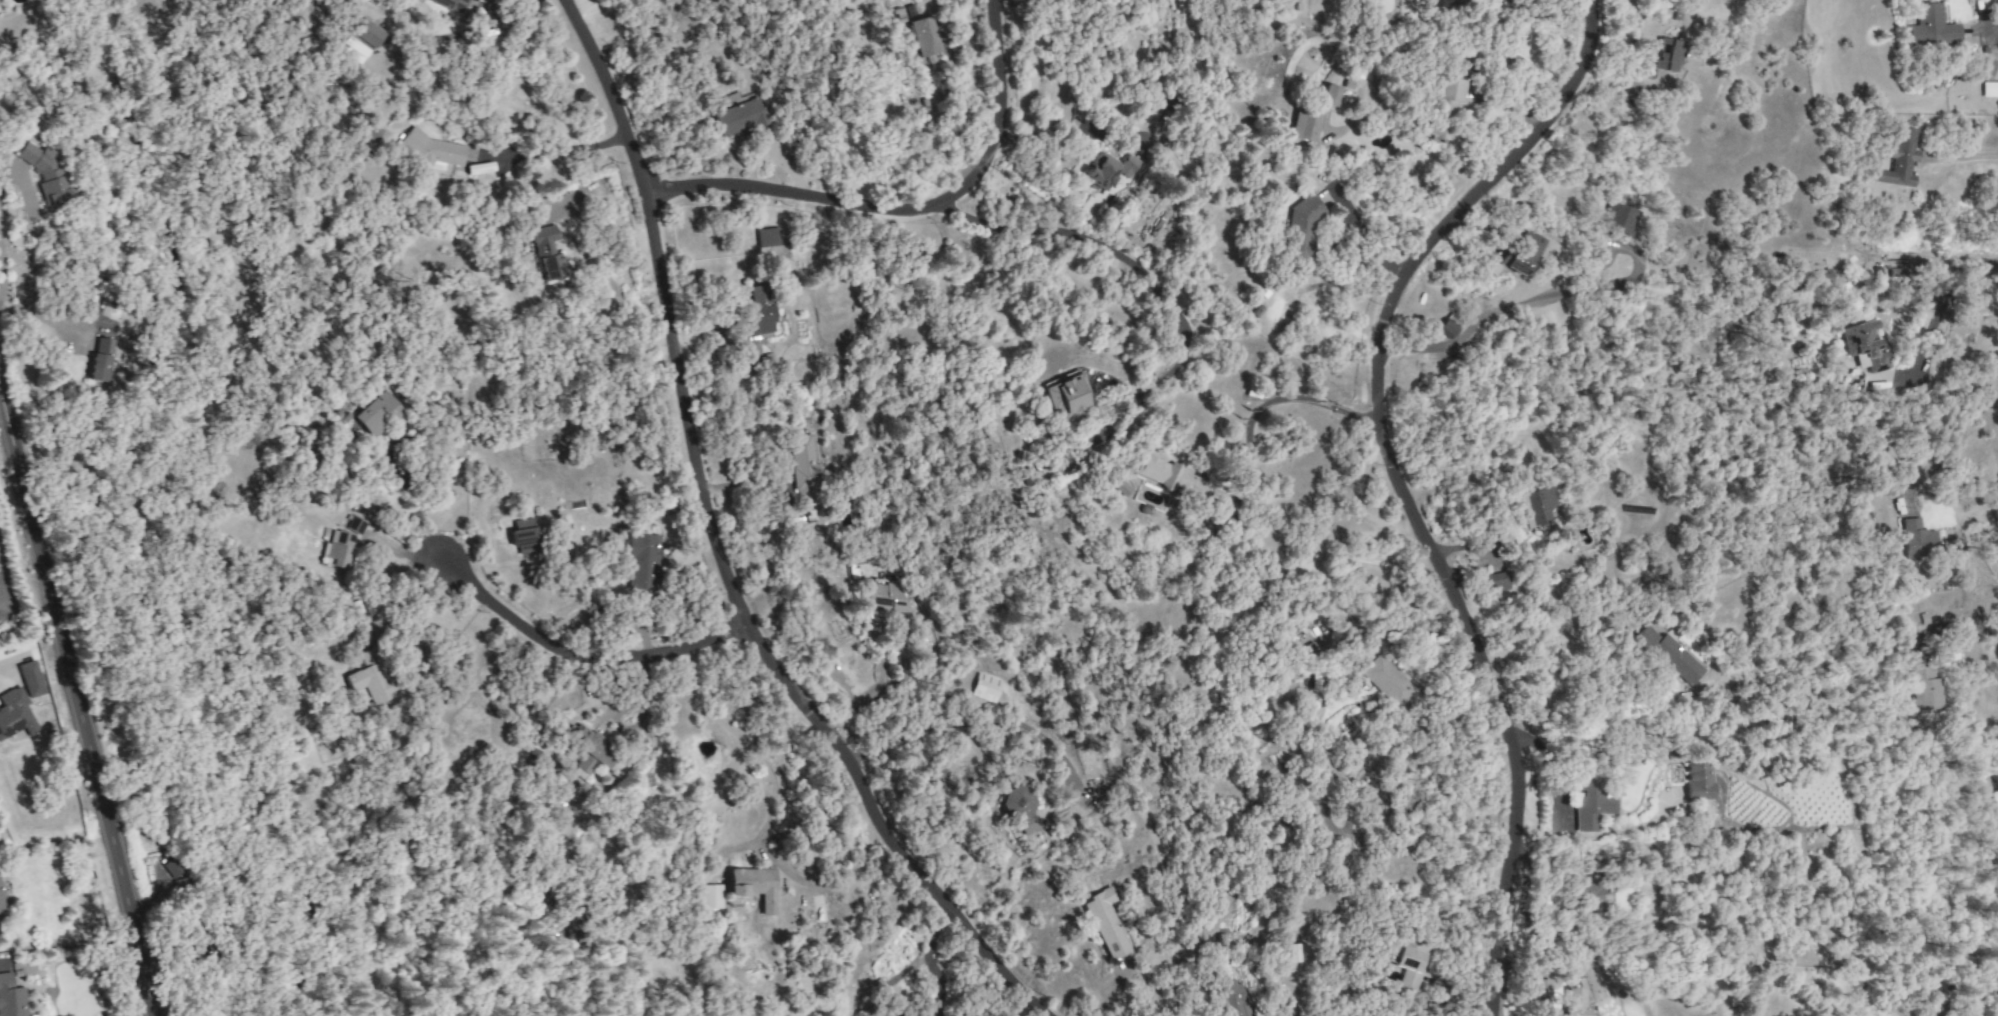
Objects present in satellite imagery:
building: (1434, 3)
building: (448, 5)
road: (1990, 23)
building: (1930, 26)
building: (365, 34)
building: (927, 36)
building: (352, 49)
building: (1665, 54)
building: (1989, 90)
building: (1446, 92)
building: (1330, 95)
building: (739, 118)
building: (1304, 125)
building: (371, 132)
building: (432, 149)
road: (556, 150)
road: (1966, 156)
building: (1898, 159)
building: (1109, 170)
building: (39, 173)
road: (1, 174)
road: (913, 207)
building: (1617, 219)
building: (1299, 231)
building: (769, 237)
building: (546, 253)
building: (1520, 253)
road: (1118, 255)
building: (1820, 278)
road: (1945, 300)
building: (759, 310)
building: (1447, 326)
building: (1863, 346)
building: (1064, 394)
road: (1275, 397)
building: (374, 414)
road: (1952, 430)
building: (803, 471)
building: (1172, 478)
road: (1396, 484)
building: (1121, 488)
building: (1534, 506)
road: (414, 513)
building: (354, 525)
building: (523, 537)
building: (1917, 539)
building: (337, 548)
road: (720, 556)
building: (642, 561)
building: (1498, 582)
building: (885, 597)
road: (1960, 625)
road: (580, 648)
building: (1667, 655)
building: (29, 679)
building: (1383, 681)
building: (368, 683)
road: (675, 686)
building: (984, 688)
building: (1925, 689)
road: (870, 694)
road: (76, 699)
building: (14, 714)
road: (974, 722)
road: (751, 748)
building: (589, 752)
building: (1996, 778)
building: (1697, 781)
building: (1590, 801)
building: (1016, 802)
building: (1995, 851)
building: (176, 868)
building: (753, 886)
building: (1590, 895)
building: (711, 897)
building: (0, 899)
building: (1106, 923)
building: (1394, 950)
building: (1409, 964)
building: (1544, 987)
building: (10, 998)
building: (1575, 1002)
road: (1046, 1007)

